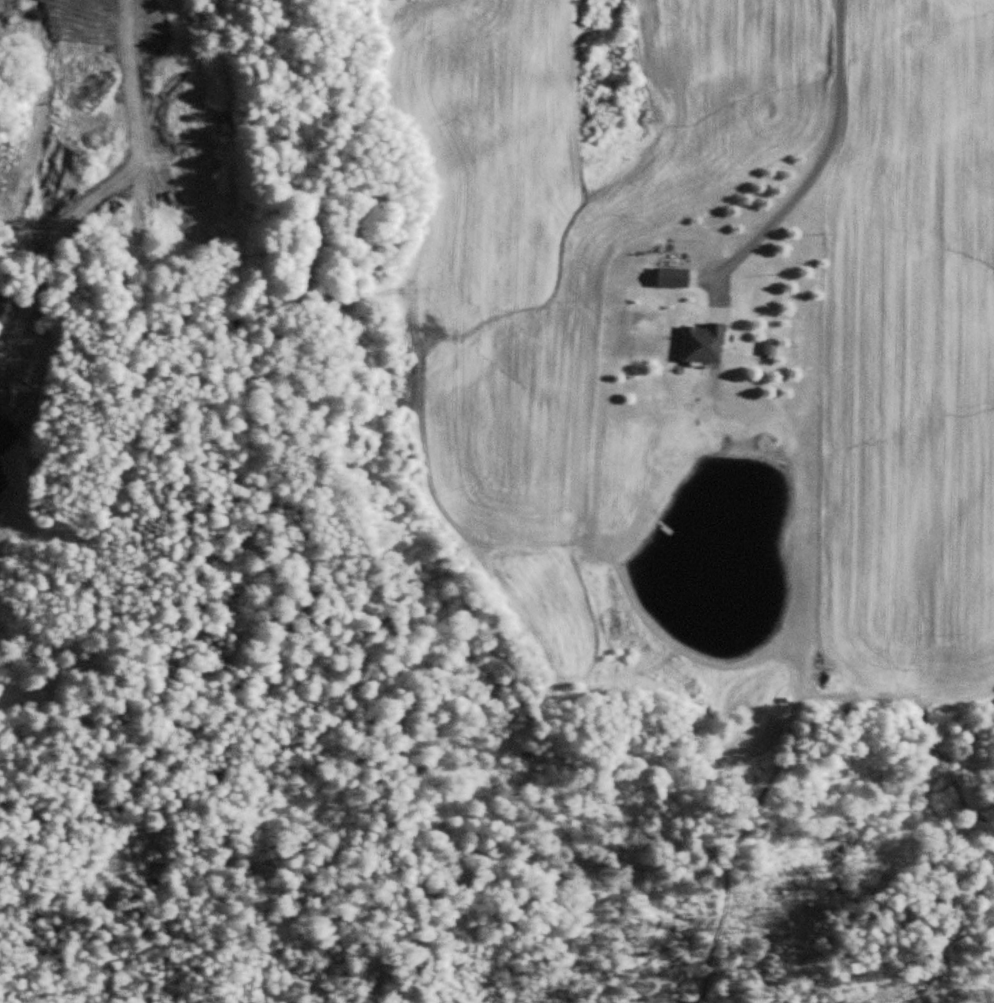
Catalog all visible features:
road: (822, 156)
building: (703, 344)

